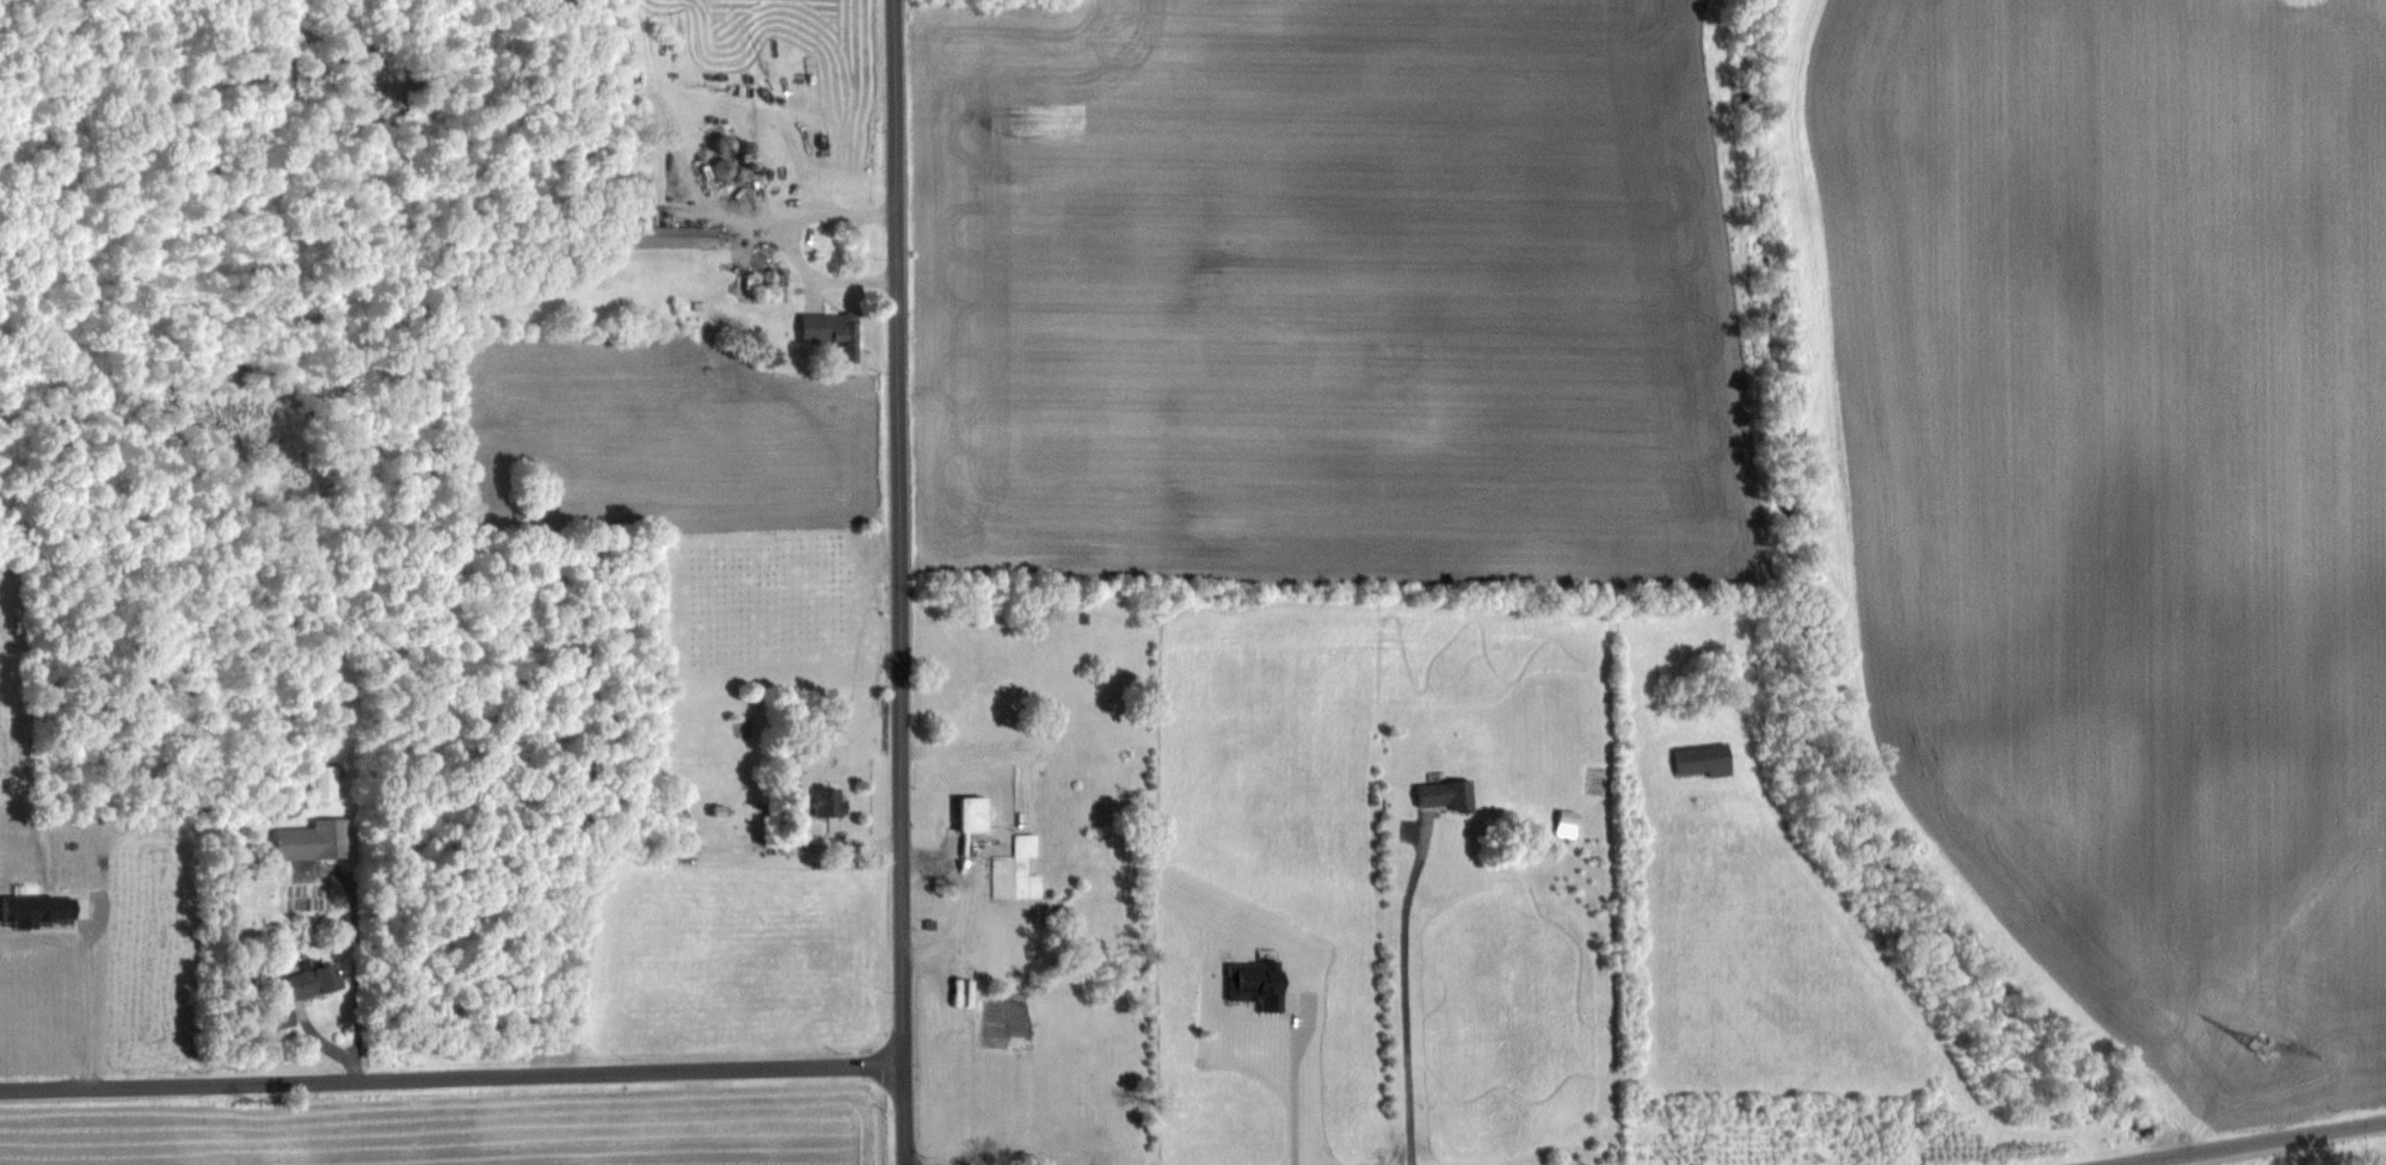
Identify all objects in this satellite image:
building: (670, 235)
building: (828, 332)
road: (898, 582)
building: (1698, 759)
building: (328, 781)
building: (823, 805)
building: (967, 814)
building: (314, 840)
building: (1015, 871)
building: (1252, 984)
building: (297, 991)
road: (1402, 994)
power tower: (2261, 1046)
road: (451, 1078)
road: (1292, 1080)
road: (2252, 1146)

